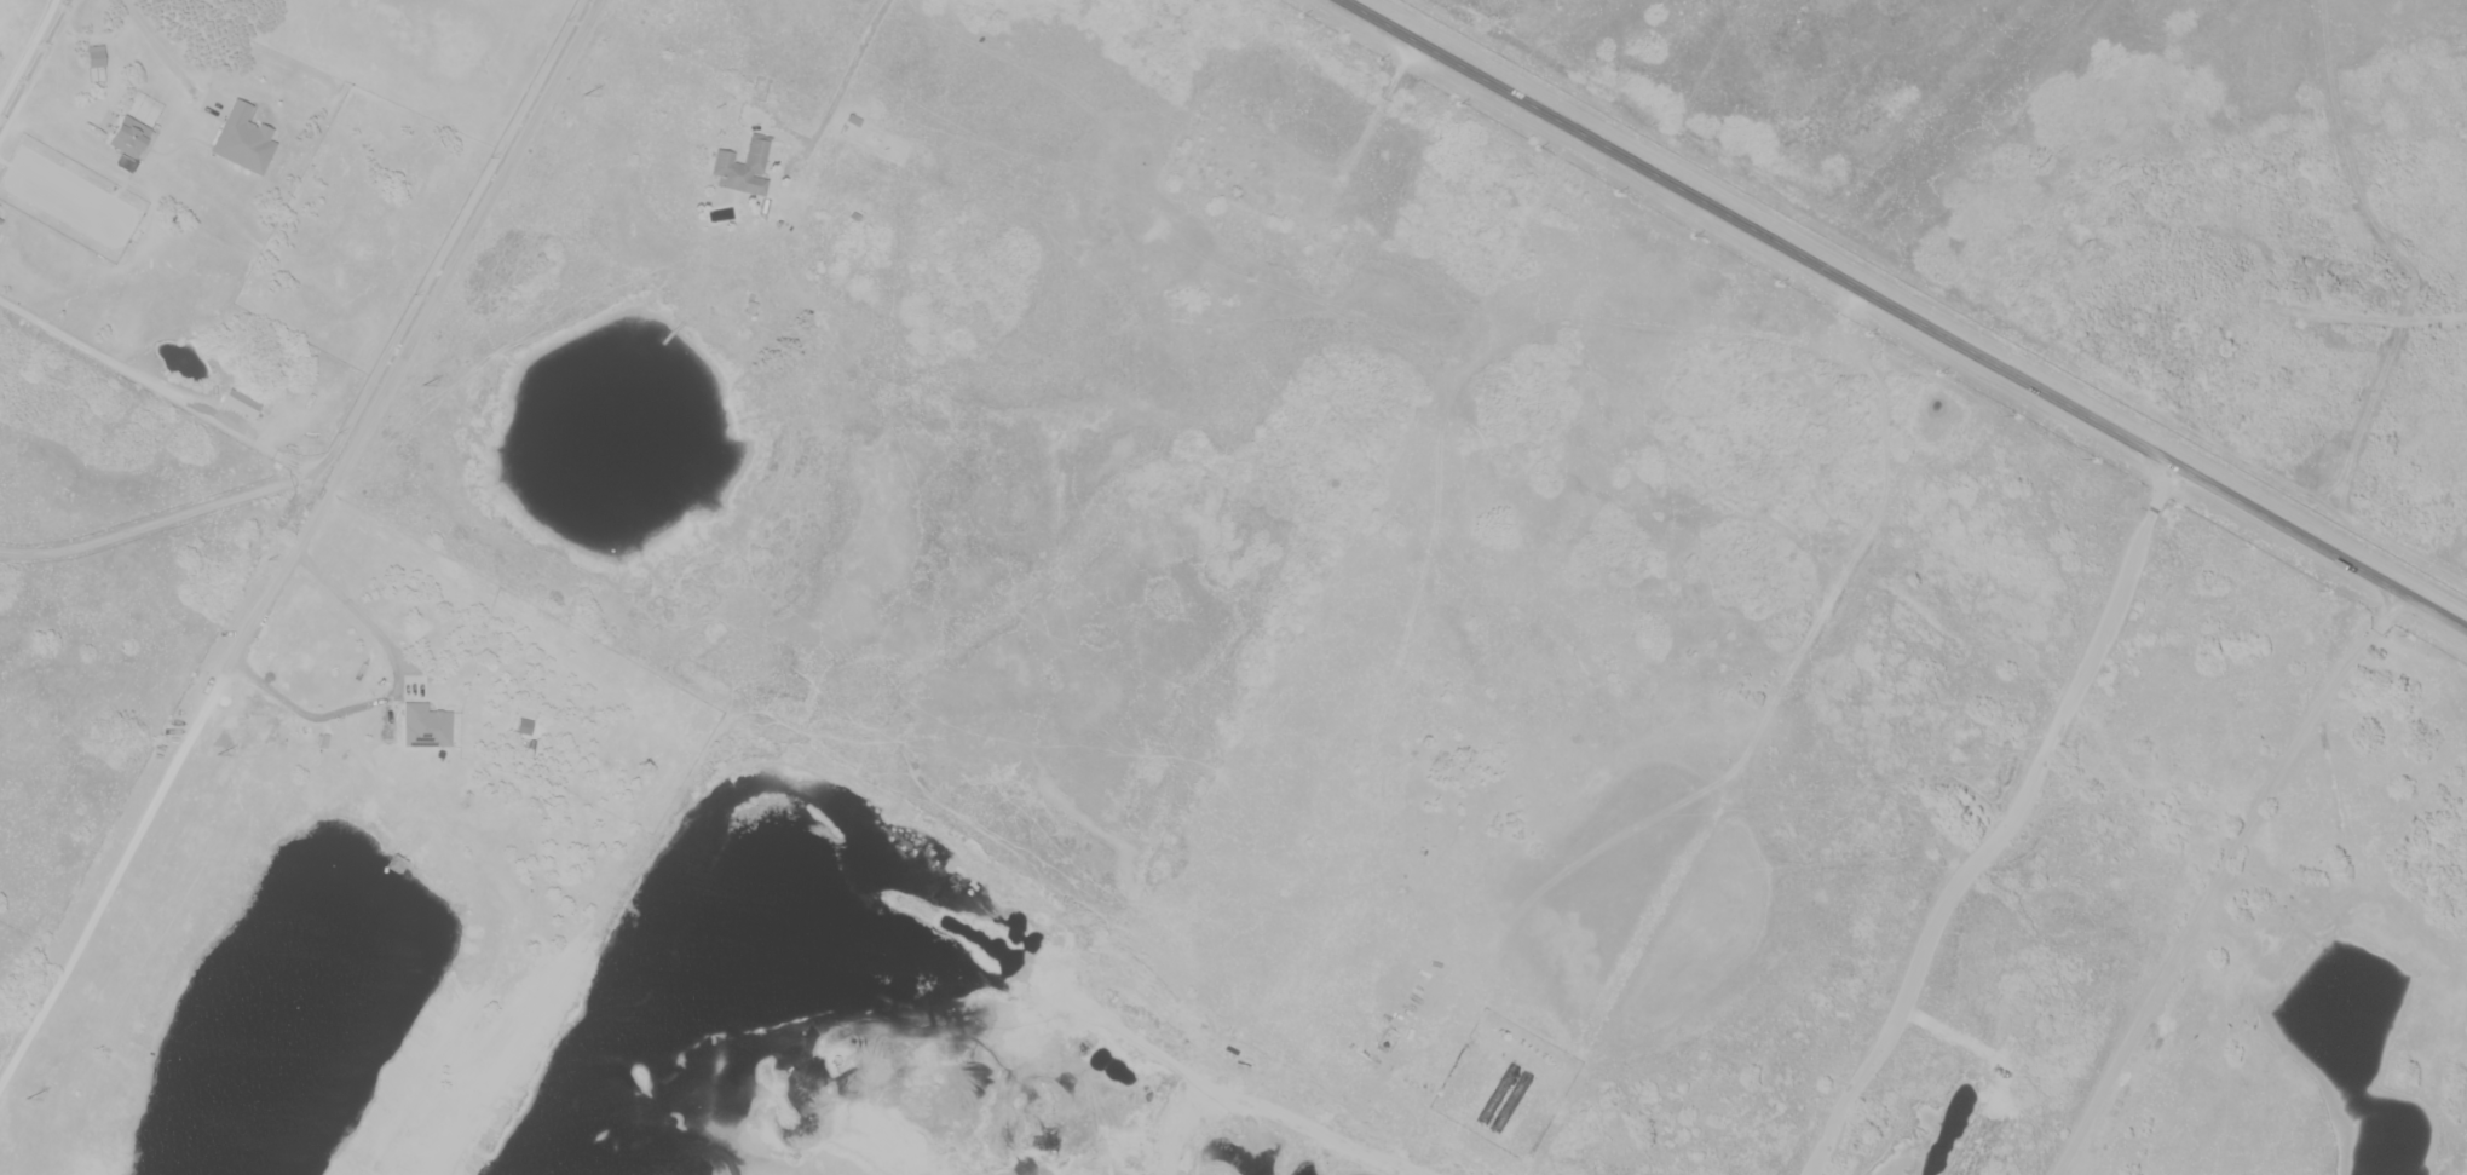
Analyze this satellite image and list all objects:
building: (96, 56)
road: (843, 86)
building: (132, 137)
building: (243, 138)
building: (744, 167)
airport: (2111, 198)
building: (1, 220)
road: (1904, 315)
road: (403, 355)
road: (371, 379)
building: (240, 402)
building: (425, 725)
road: (2220, 877)

